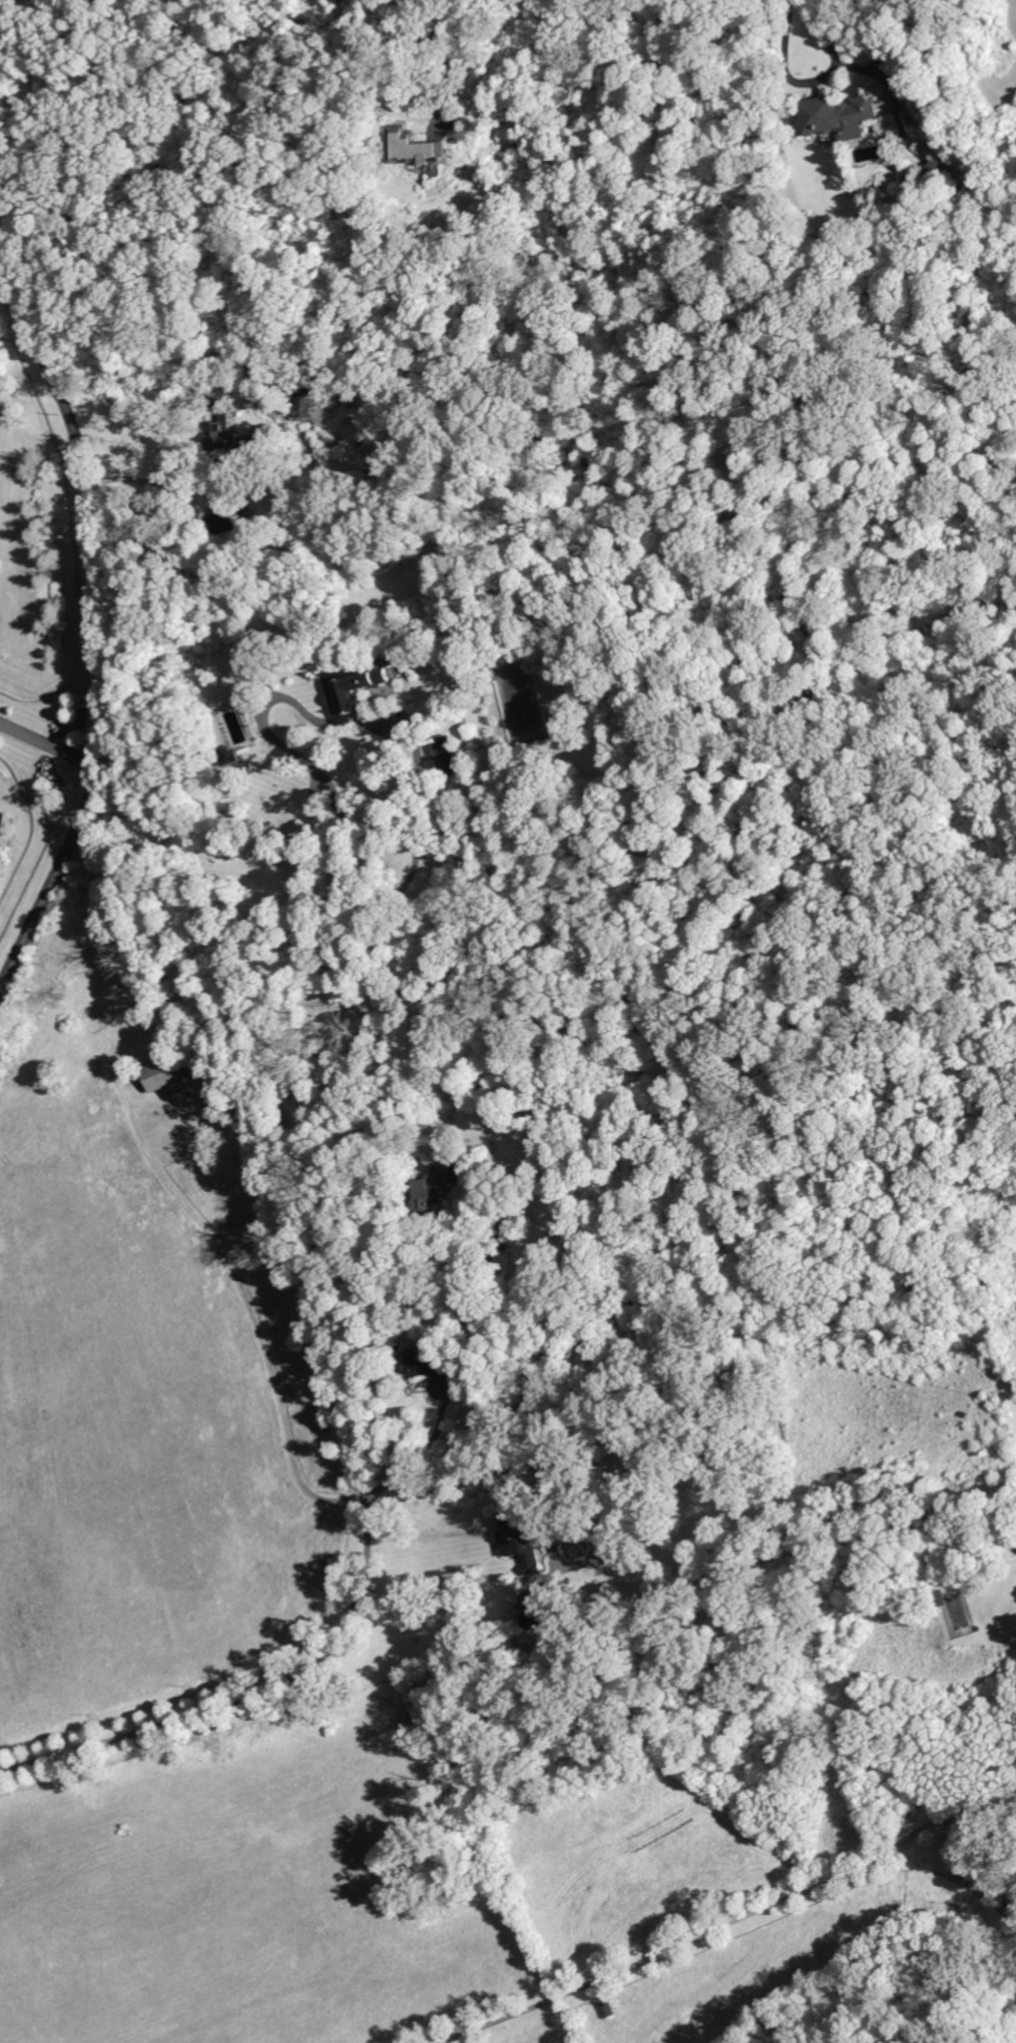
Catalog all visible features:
building: (355, 2)
road: (810, 40)
road: (444, 54)
building: (839, 116)
building: (459, 138)
building: (415, 147)
building: (938, 170)
building: (234, 431)
road: (153, 481)
building: (226, 520)
road: (103, 631)
building: (354, 687)
road: (51, 745)
building: (449, 752)
building: (230, 754)
road: (312, 766)
building: (453, 811)
road: (417, 863)
building: (166, 1073)
road: (348, 1086)
building: (180, 1095)
building: (431, 1191)
building: (534, 1283)
road: (452, 1287)
road: (248, 1307)
building: (420, 1359)
building: (458, 1376)
road: (354, 1461)
road: (499, 1469)
building: (524, 1542)
building: (544, 1614)
road: (199, 1711)
building: (1000, 1885)
building: (506, 1887)
road: (729, 1921)
building: (607, 2009)

